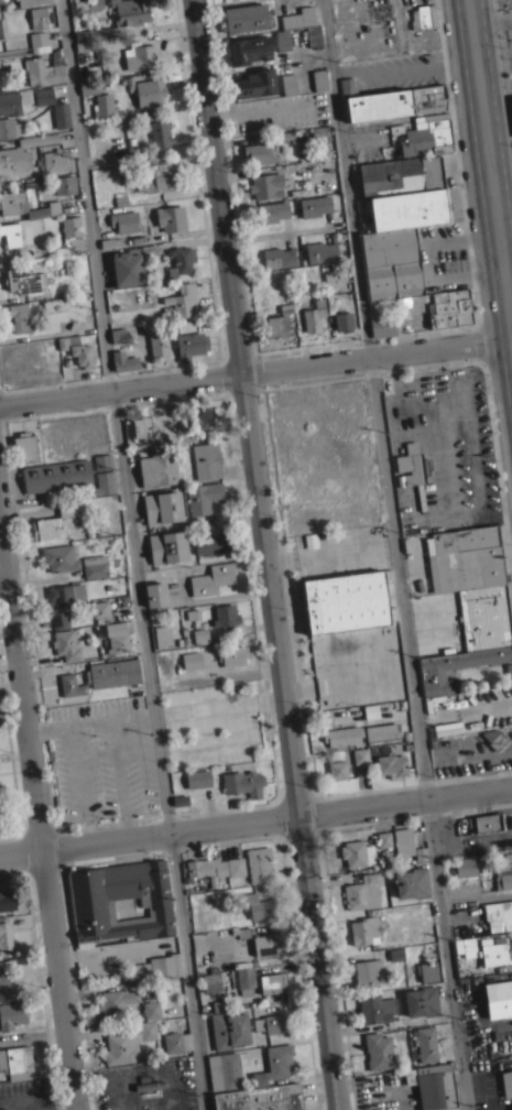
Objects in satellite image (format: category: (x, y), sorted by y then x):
building: (32, 2)
building: (88, 3)
building: (423, 15)
building: (39, 18)
building: (247, 18)
building: (119, 19)
building: (288, 28)
building: (0, 31)
building: (39, 42)
building: (83, 45)
road: (505, 46)
building: (248, 50)
building: (141, 56)
road: (403, 68)
building: (42, 72)
building: (319, 78)
building: (254, 83)
building: (288, 83)
building: (90, 86)
building: (348, 86)
building: (149, 91)
building: (43, 96)
building: (14, 101)
building: (396, 102)
building: (104, 106)
building: (510, 106)
building: (62, 115)
building: (9, 128)
building: (160, 134)
building: (427, 134)
building: (309, 139)
building: (22, 153)
building: (261, 153)
building: (131, 155)
road: (490, 156)
building: (57, 160)
building: (399, 174)
building: (153, 177)
building: (64, 184)
building: (266, 185)
building: (120, 198)
building: (25, 206)
building: (314, 206)
building: (405, 208)
building: (272, 211)
building: (171, 218)
building: (123, 221)
building: (72, 226)
building: (11, 233)
road: (276, 233)
building: (110, 242)
building: (62, 248)
building: (149, 249)
building: (322, 250)
building: (279, 255)
building: (181, 260)
building: (127, 268)
building: (22, 280)
building: (149, 292)
building: (183, 300)
building: (400, 303)
building: (449, 307)
building: (63, 309)
building: (19, 316)
building: (314, 316)
building: (344, 320)
building: (277, 325)
building: (381, 325)
building: (118, 335)
building: (66, 340)
building: (159, 344)
building: (190, 345)
building: (83, 353)
building: (123, 360)
road: (255, 372)
building: (203, 416)
building: (142, 425)
building: (24, 447)
building: (207, 460)
building: (102, 461)
building: (157, 469)
building: (411, 470)
building: (56, 475)
building: (104, 483)
building: (203, 497)
building: (162, 507)
building: (56, 523)
building: (311, 540)
building: (213, 543)
building: (167, 546)
road: (265, 554)
road: (395, 554)
road: (132, 555)
building: (59, 557)
building: (95, 565)
building: (213, 578)
building: (475, 581)
building: (156, 595)
building: (348, 601)
building: (61, 603)
building: (100, 609)
building: (226, 614)
building: (162, 634)
building: (200, 635)
building: (117, 636)
building: (66, 644)
building: (232, 655)
building: (192, 660)
building: (455, 666)
building: (112, 673)
building: (70, 685)
building: (371, 710)
road: (109, 715)
road: (46, 726)
building: (383, 731)
building: (342, 736)
building: (494, 738)
building: (360, 755)
building: (391, 765)
building: (337, 770)
road: (117, 777)
building: (198, 779)
building: (243, 783)
road: (74, 784)
building: (179, 799)
road: (39, 808)
building: (488, 821)
road: (255, 823)
building: (381, 839)
building: (403, 841)
building: (357, 853)
building: (420, 853)
building: (259, 863)
building: (236, 867)
building: (464, 867)
building: (207, 868)
building: (503, 870)
building: (412, 883)
building: (361, 892)
road: (476, 897)
building: (7, 900)
building: (91, 902)
building: (259, 906)
building: (425, 910)
building: (499, 915)
building: (362, 931)
building: (241, 932)
building: (6, 939)
building: (266, 943)
building: (464, 944)
road: (112, 951)
building: (491, 951)
building: (155, 967)
building: (426, 970)
building: (366, 971)
building: (4, 978)
building: (244, 979)
building: (210, 982)
building: (272, 982)
building: (498, 999)
building: (422, 1001)
building: (116, 1004)
building: (219, 1005)
building: (375, 1008)
building: (151, 1010)
building: (11, 1014)
building: (272, 1023)
building: (229, 1029)
building: (146, 1030)
building: (176, 1042)
building: (426, 1044)
building: (120, 1047)
building: (379, 1051)
building: (15, 1058)
building: (274, 1064)
building: (225, 1070)
building: (148, 1082)
building: (506, 1082)
building: (434, 1085)
building: (261, 1098)
road: (15, 1102)
road: (53, 1104)
building: (510, 1107)
road: (32, 1108)

